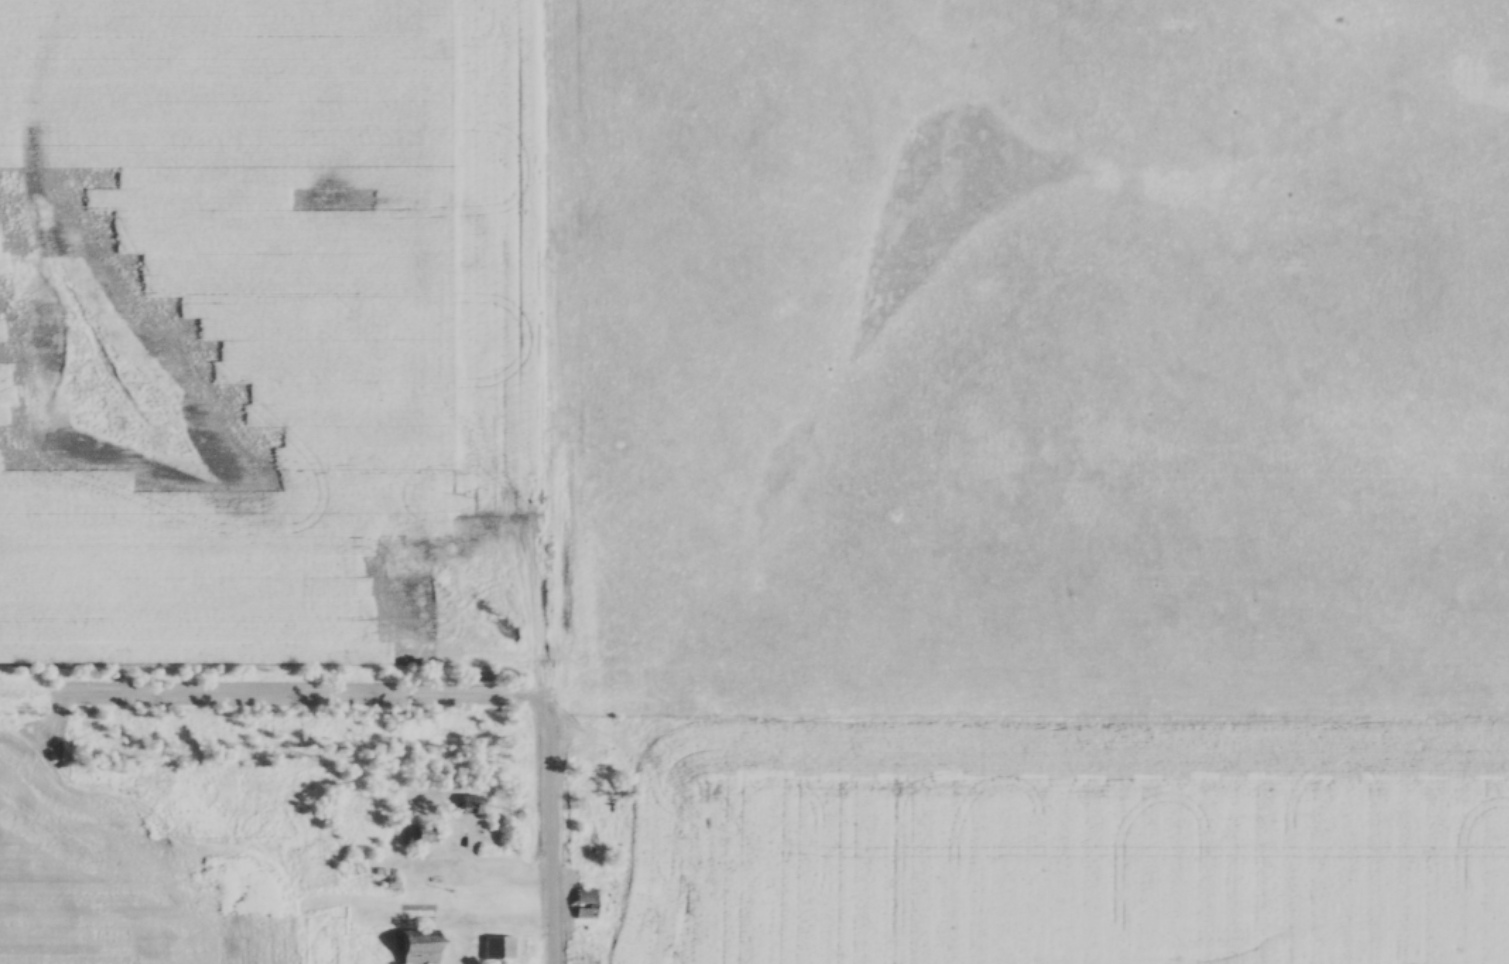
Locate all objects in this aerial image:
road: (268, 718)
road: (549, 836)

